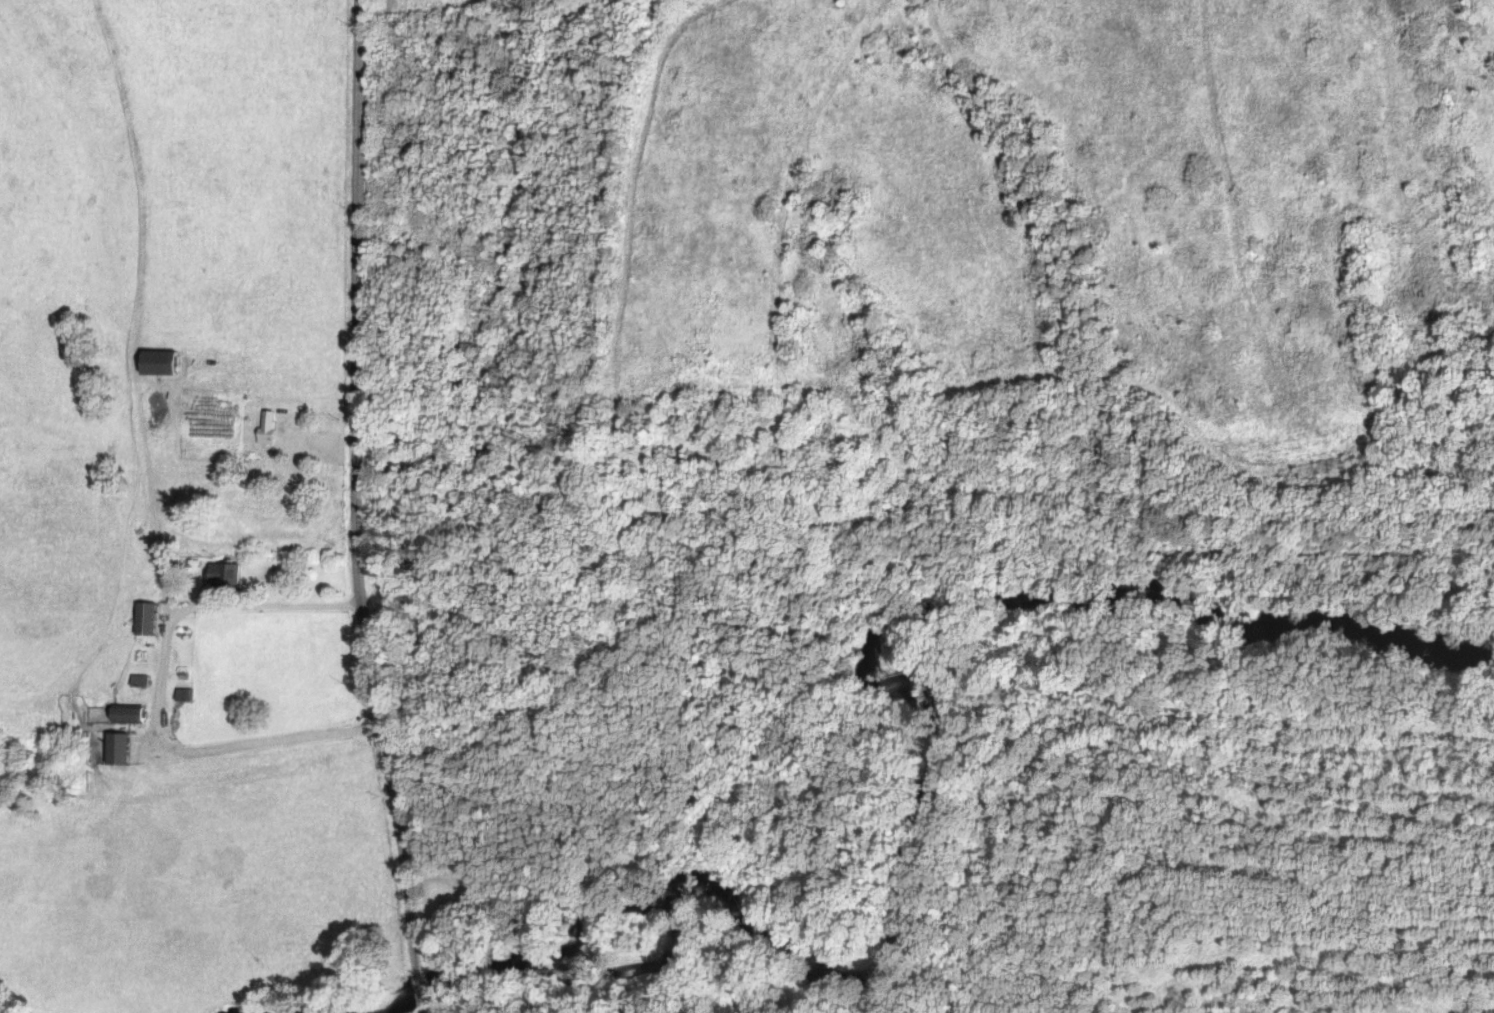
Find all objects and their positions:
building: (165, 361)
building: (272, 426)
road: (353, 510)
building: (224, 575)
road: (260, 606)
building: (149, 617)
road: (157, 677)
building: (133, 714)
building: (123, 747)

